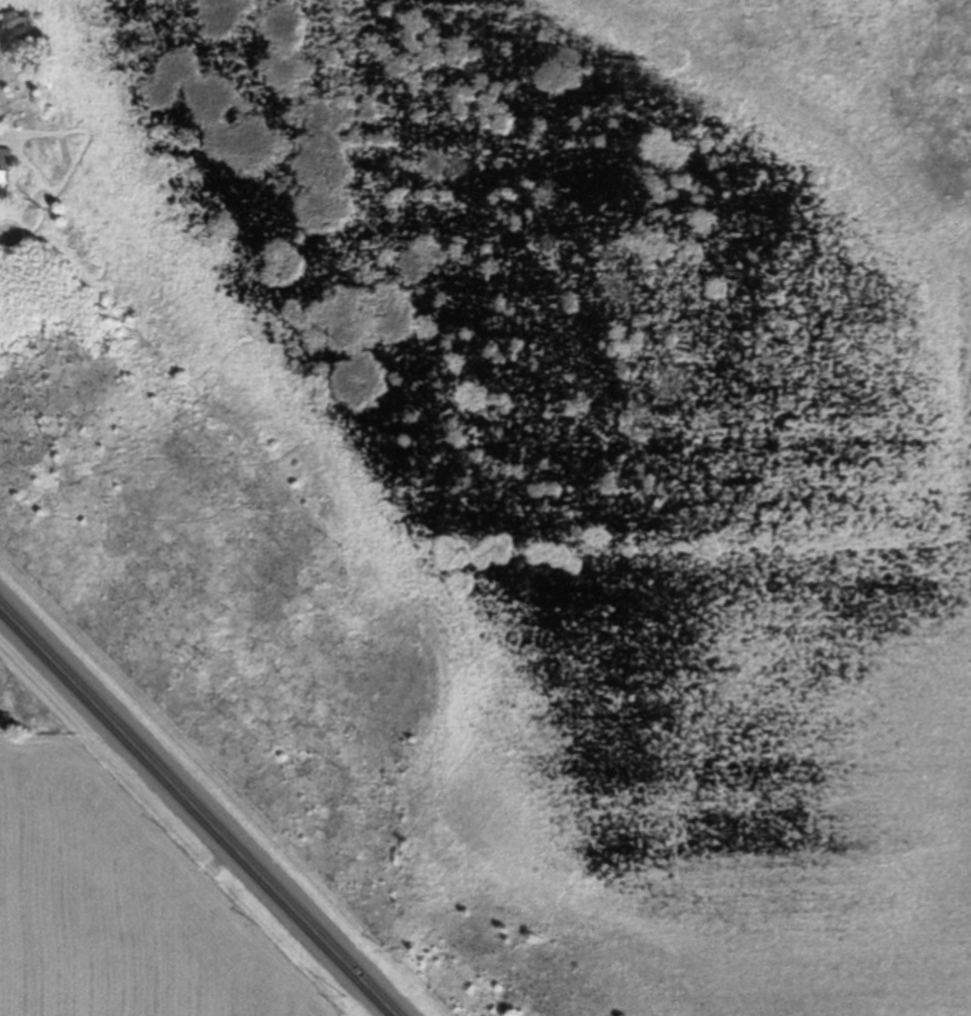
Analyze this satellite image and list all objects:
building: (6, 167)
road: (199, 806)

